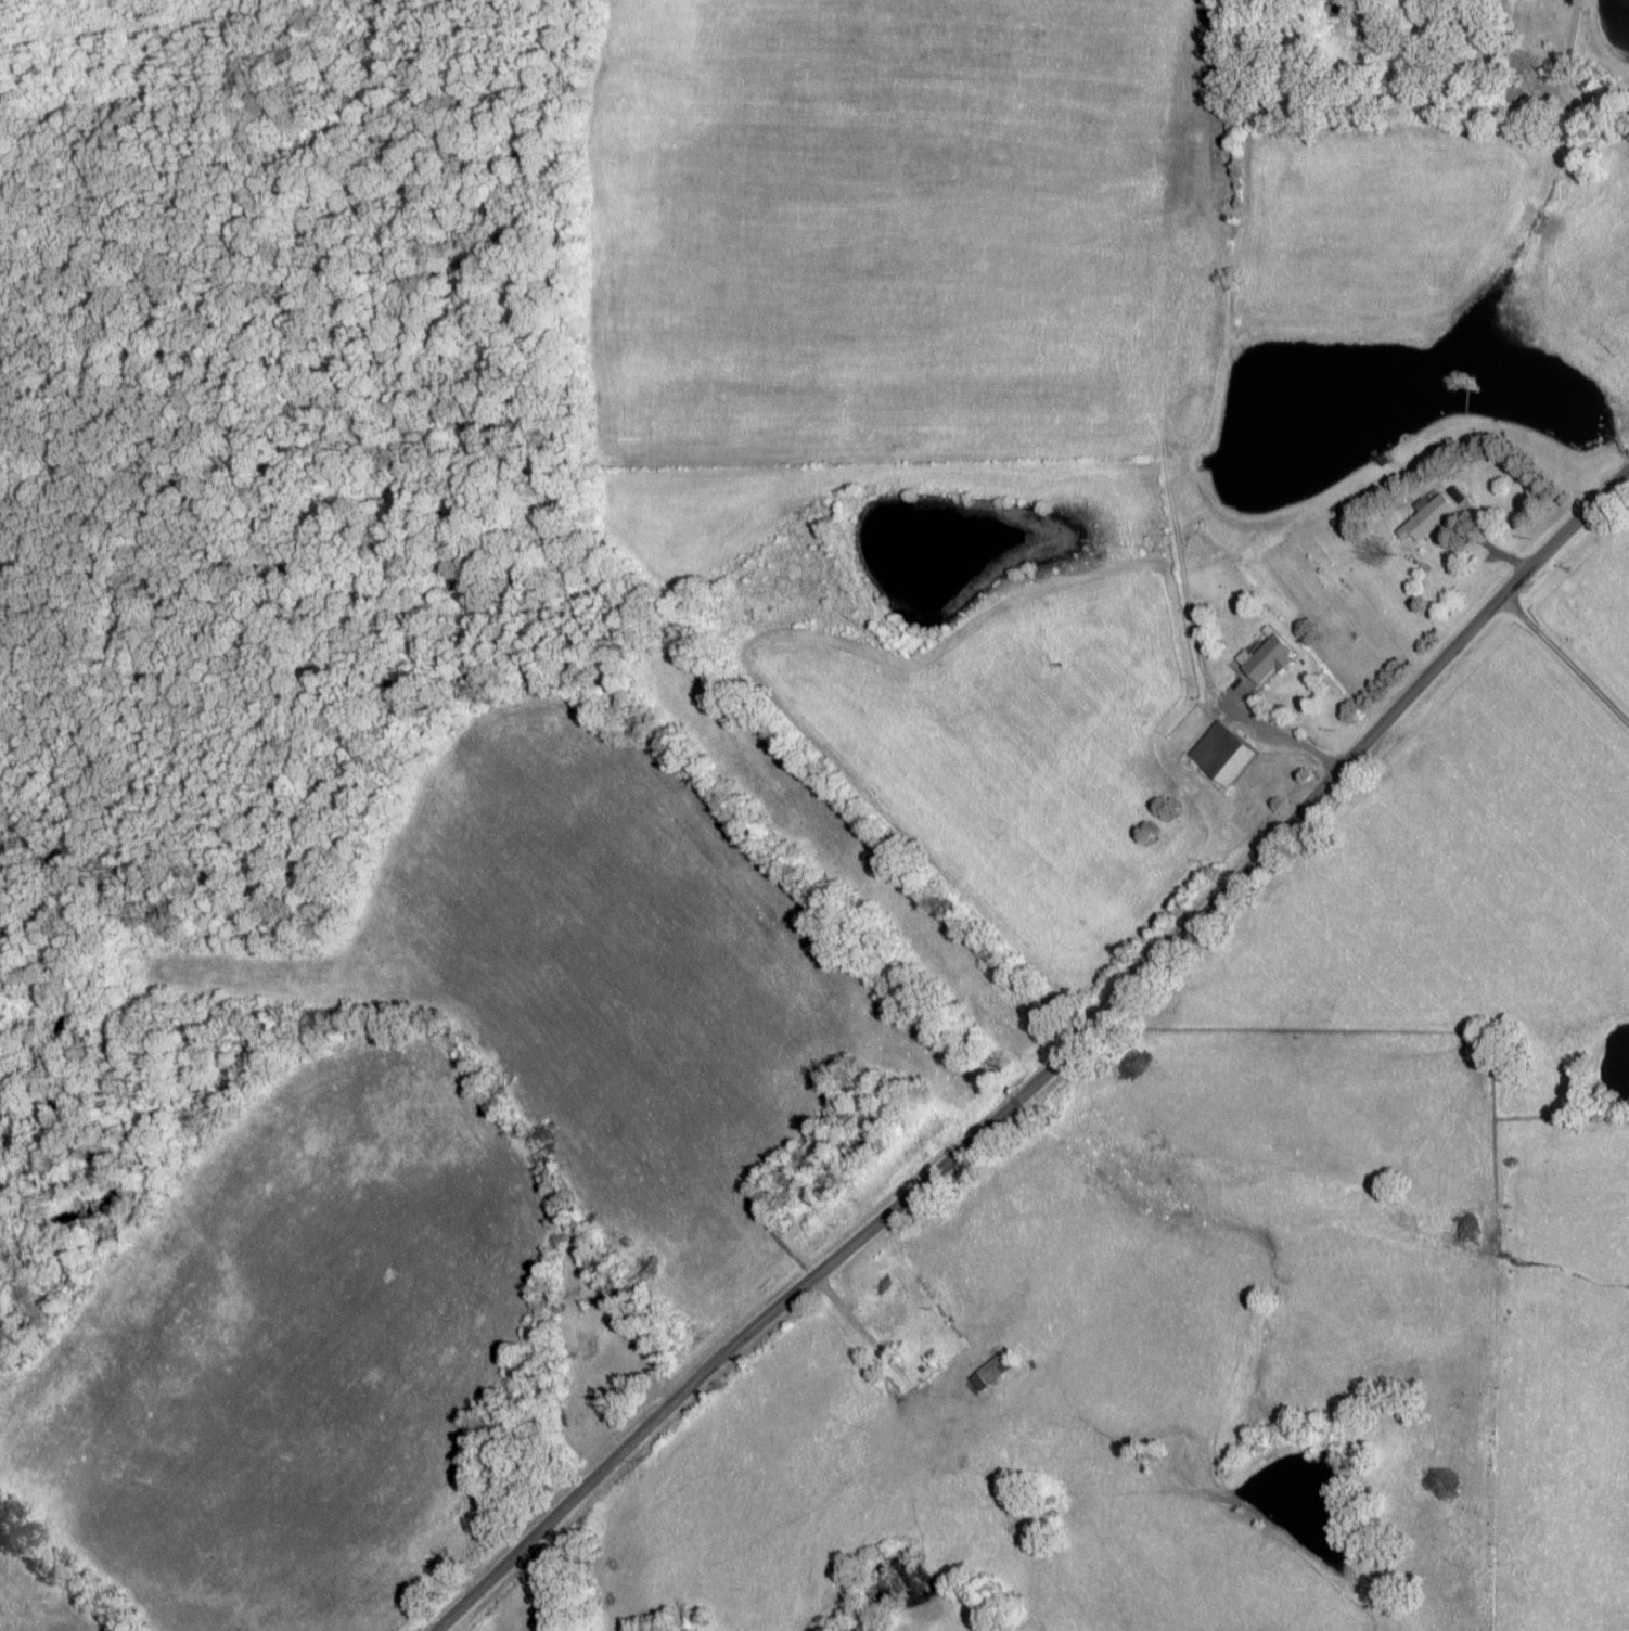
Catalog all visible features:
road: (1561, 84)
building: (1429, 518)
road: (1564, 658)
building: (1267, 659)
building: (1220, 755)
road: (1049, 1067)
building: (881, 1317)
park: (598, 1360)
building: (988, 1371)

